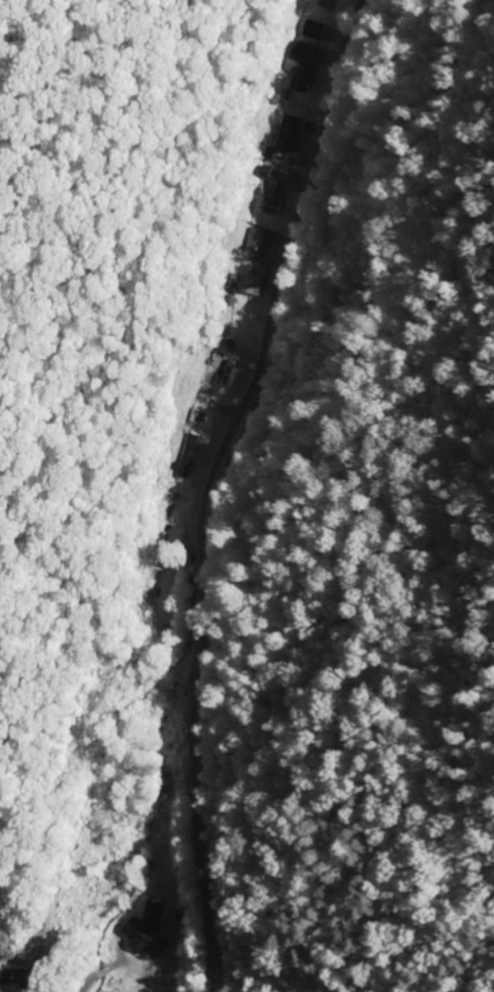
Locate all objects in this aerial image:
building: (314, 31)
building: (303, 68)
building: (289, 134)
building: (275, 196)
building: (257, 240)
building: (253, 280)
road: (210, 486)
building: (152, 926)
road: (100, 974)
building: (12, 979)

